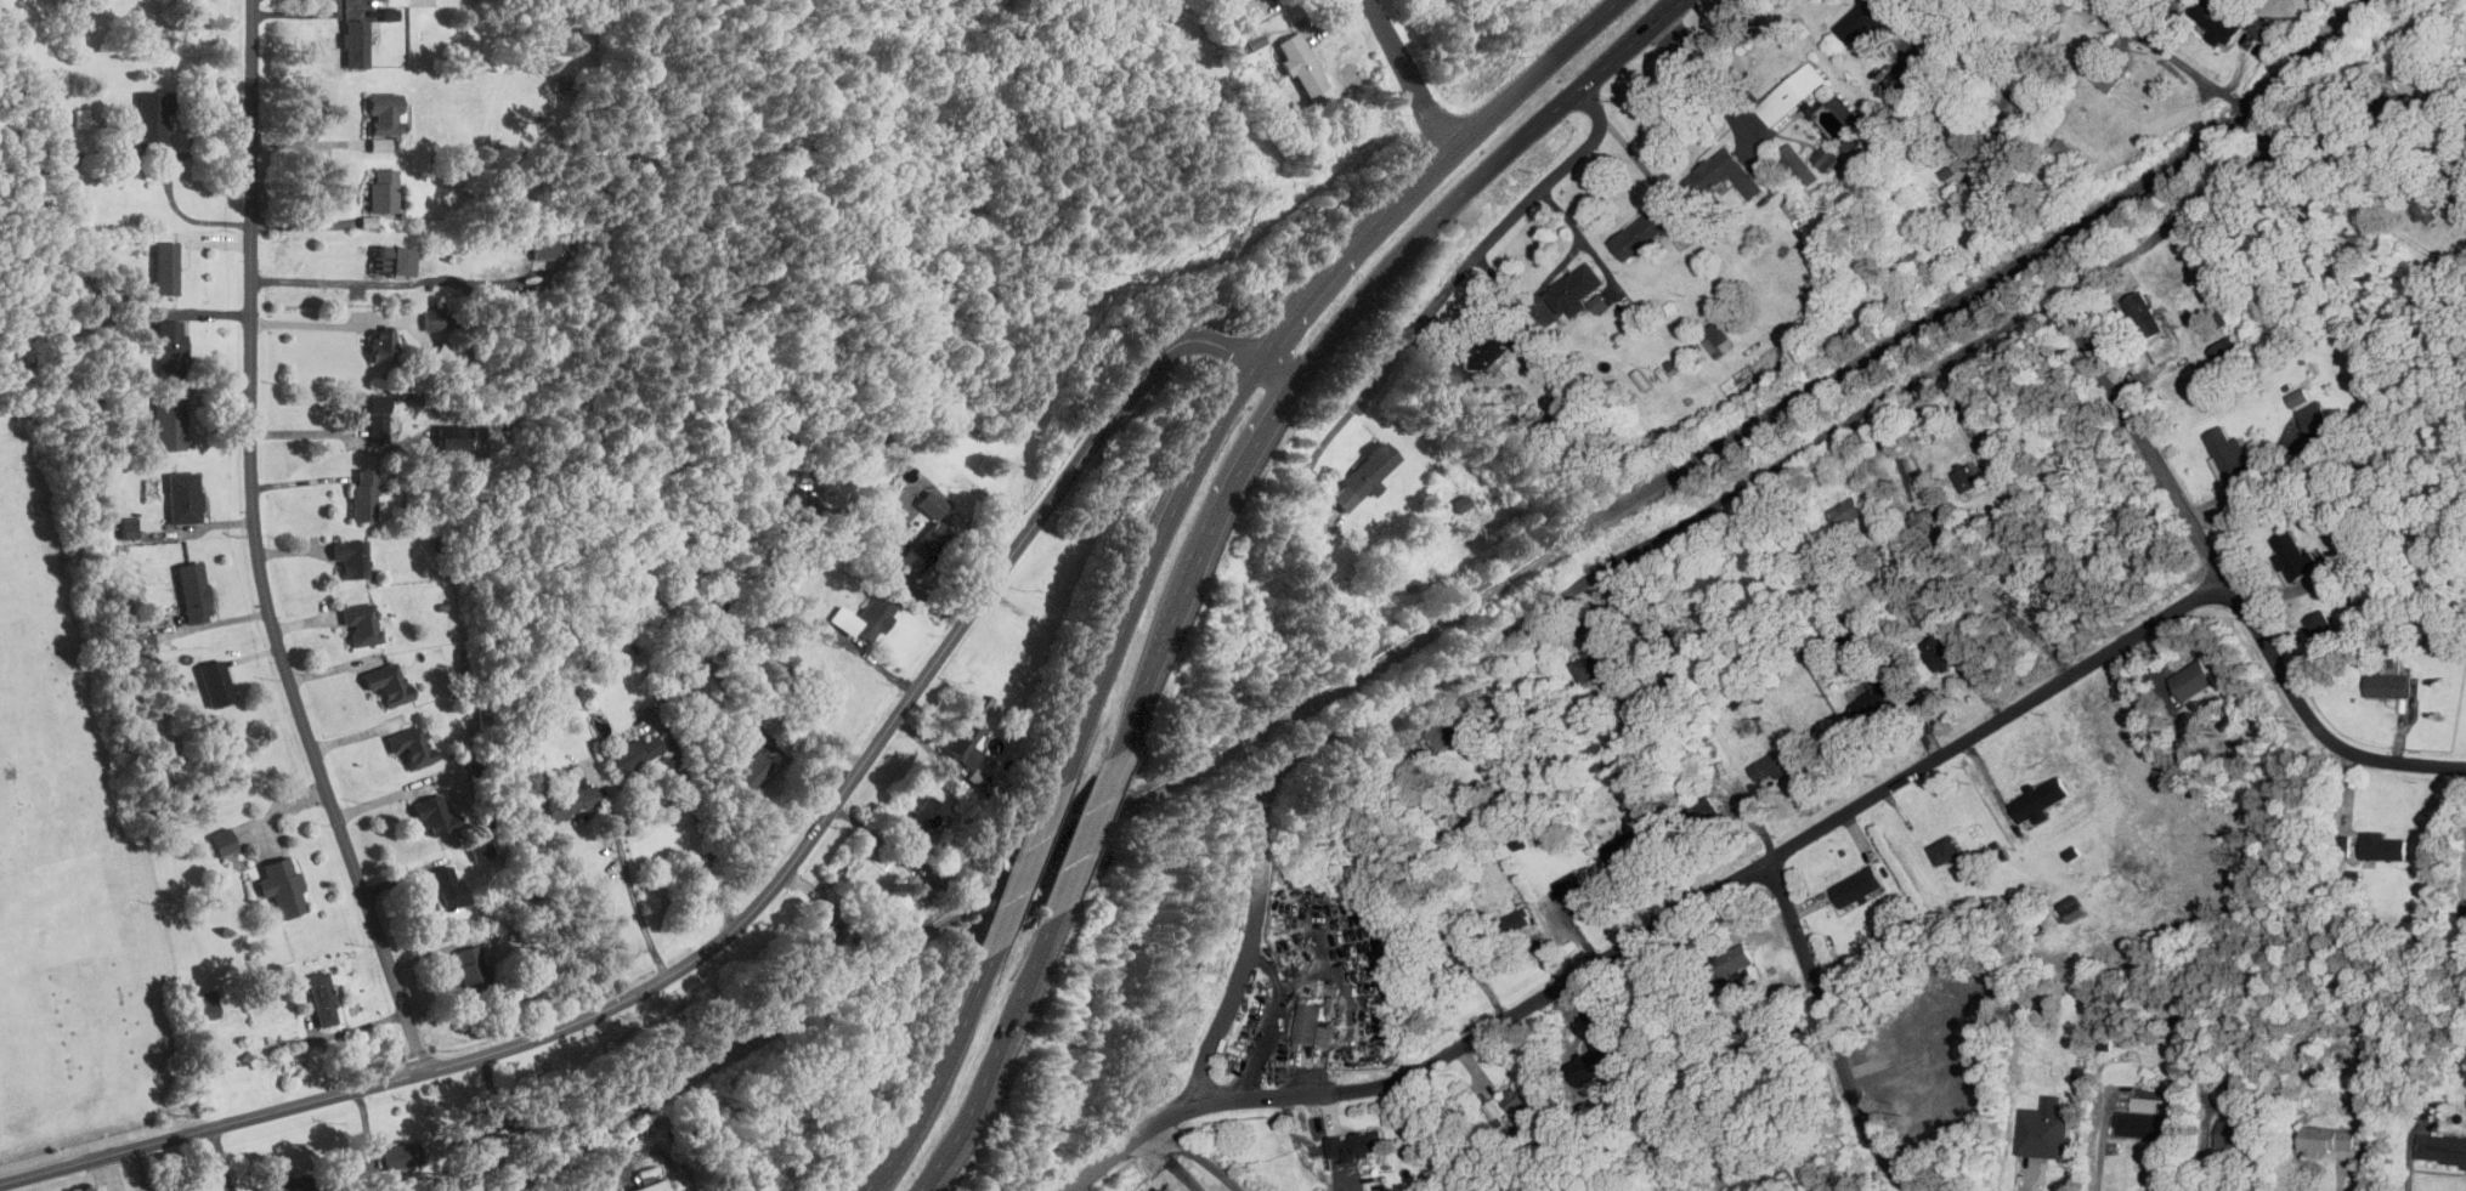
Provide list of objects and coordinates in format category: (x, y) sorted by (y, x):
building: (2213, 19)
building: (1863, 21)
building: (1255, 39)
building: (355, 44)
road: (2182, 67)
building: (1302, 68)
road: (1408, 74)
building: (2104, 75)
building: (1896, 78)
road: (1715, 87)
building: (1791, 93)
building: (2397, 110)
building: (1844, 112)
building: (384, 114)
building: (152, 119)
road: (306, 141)
building: (379, 144)
building: (2064, 151)
building: (56, 154)
building: (1825, 158)
building: (1798, 166)
building: (1962, 169)
building: (1723, 175)
road: (2337, 181)
road: (166, 182)
building: (381, 191)
road: (2077, 195)
building: (2426, 203)
building: (1644, 232)
road: (1582, 239)
building: (545, 249)
building: (394, 260)
building: (165, 267)
road: (312, 279)
building: (1574, 290)
road: (1443, 291)
building: (2143, 314)
building: (431, 321)
road: (328, 322)
road: (1334, 330)
building: (1716, 338)
building: (1497, 344)
road: (1267, 346)
building: (383, 347)
building: (170, 348)
building: (2225, 351)
building: (447, 356)
building: (2297, 398)
building: (375, 410)
building: (2314, 421)
building: (168, 424)
building: (453, 437)
building: (2228, 454)
building: (1364, 477)
building: (1969, 477)
building: (363, 495)
building: (183, 498)
road: (1715, 501)
building: (1459, 503)
building: (1846, 514)
building: (1925, 520)
building: (926, 538)
road: (260, 548)
building: (2291, 555)
building: (351, 558)
road: (2224, 577)
building: (193, 591)
building: (719, 600)
railway: (1444, 613)
building: (871, 617)
building: (361, 624)
building: (2319, 626)
building: (1935, 654)
building: (1599, 660)
building: (2191, 680)
building: (388, 682)
building: (215, 684)
building: (2386, 686)
building: (1877, 697)
building: (1452, 730)
building: (962, 738)
building: (411, 744)
building: (632, 754)
building: (1776, 761)
building: (752, 769)
building: (975, 777)
road: (1741, 793)
building: (569, 800)
building: (2040, 800)
building: (435, 816)
building: (1695, 816)
building: (921, 819)
road: (701, 826)
road: (1084, 835)
building: (222, 841)
building: (1628, 846)
building: (2381, 846)
building: (480, 849)
building: (1944, 849)
road: (1025, 868)
road: (627, 878)
building: (282, 886)
building: (447, 886)
building: (1572, 886)
building: (927, 887)
building: (1855, 887)
road: (763, 902)
building: (2069, 904)
building: (1516, 923)
road: (1657, 923)
building: (824, 928)
building: (1454, 951)
building: (1732, 960)
building: (470, 969)
building: (321, 998)
building: (203, 1004)
building: (1657, 1008)
road: (1272, 1020)
building: (1312, 1025)
road: (1829, 1030)
road: (991, 1056)
building: (1597, 1060)
road: (939, 1073)
building: (2145, 1105)
building: (1522, 1107)
building: (2145, 1124)
building: (2046, 1130)
road: (1449, 1133)
building: (2234, 1134)
building: (2326, 1140)
building: (1356, 1144)
building: (2440, 1149)
building: (400, 1156)
road: (1195, 1157)
road: (1167, 1162)
building: (289, 1183)
building: (652, 1186)
building: (188, 1190)

